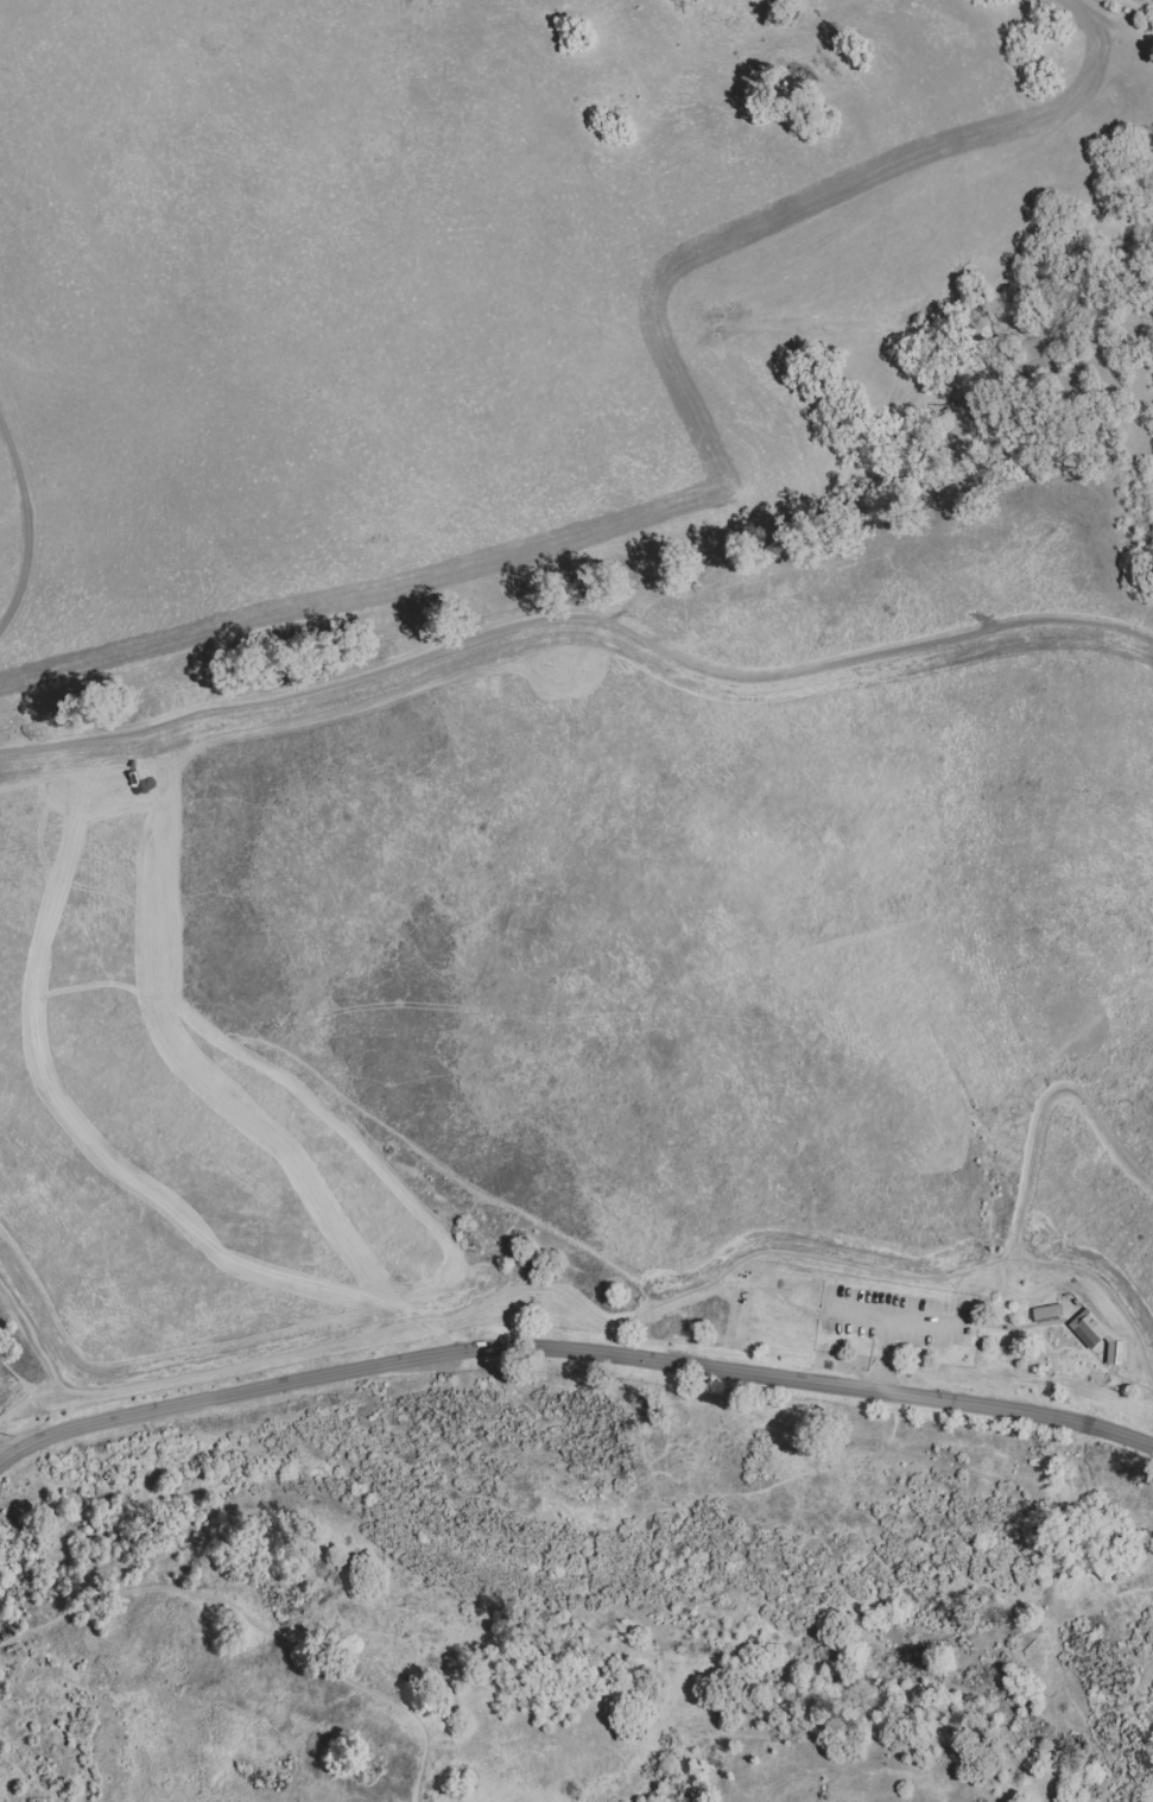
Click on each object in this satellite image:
road: (24, 524)
road: (576, 625)
road: (1107, 1290)
road: (951, 1296)
road: (642, 1309)
building: (1046, 1311)
road: (894, 1315)
parking lot: (893, 1319)
road: (1069, 1328)
building: (1087, 1328)
road: (32, 1335)
road: (574, 1351)
road: (1054, 1351)
road: (882, 1353)
building: (1111, 1353)
road: (19, 1405)
road: (252, 1621)

